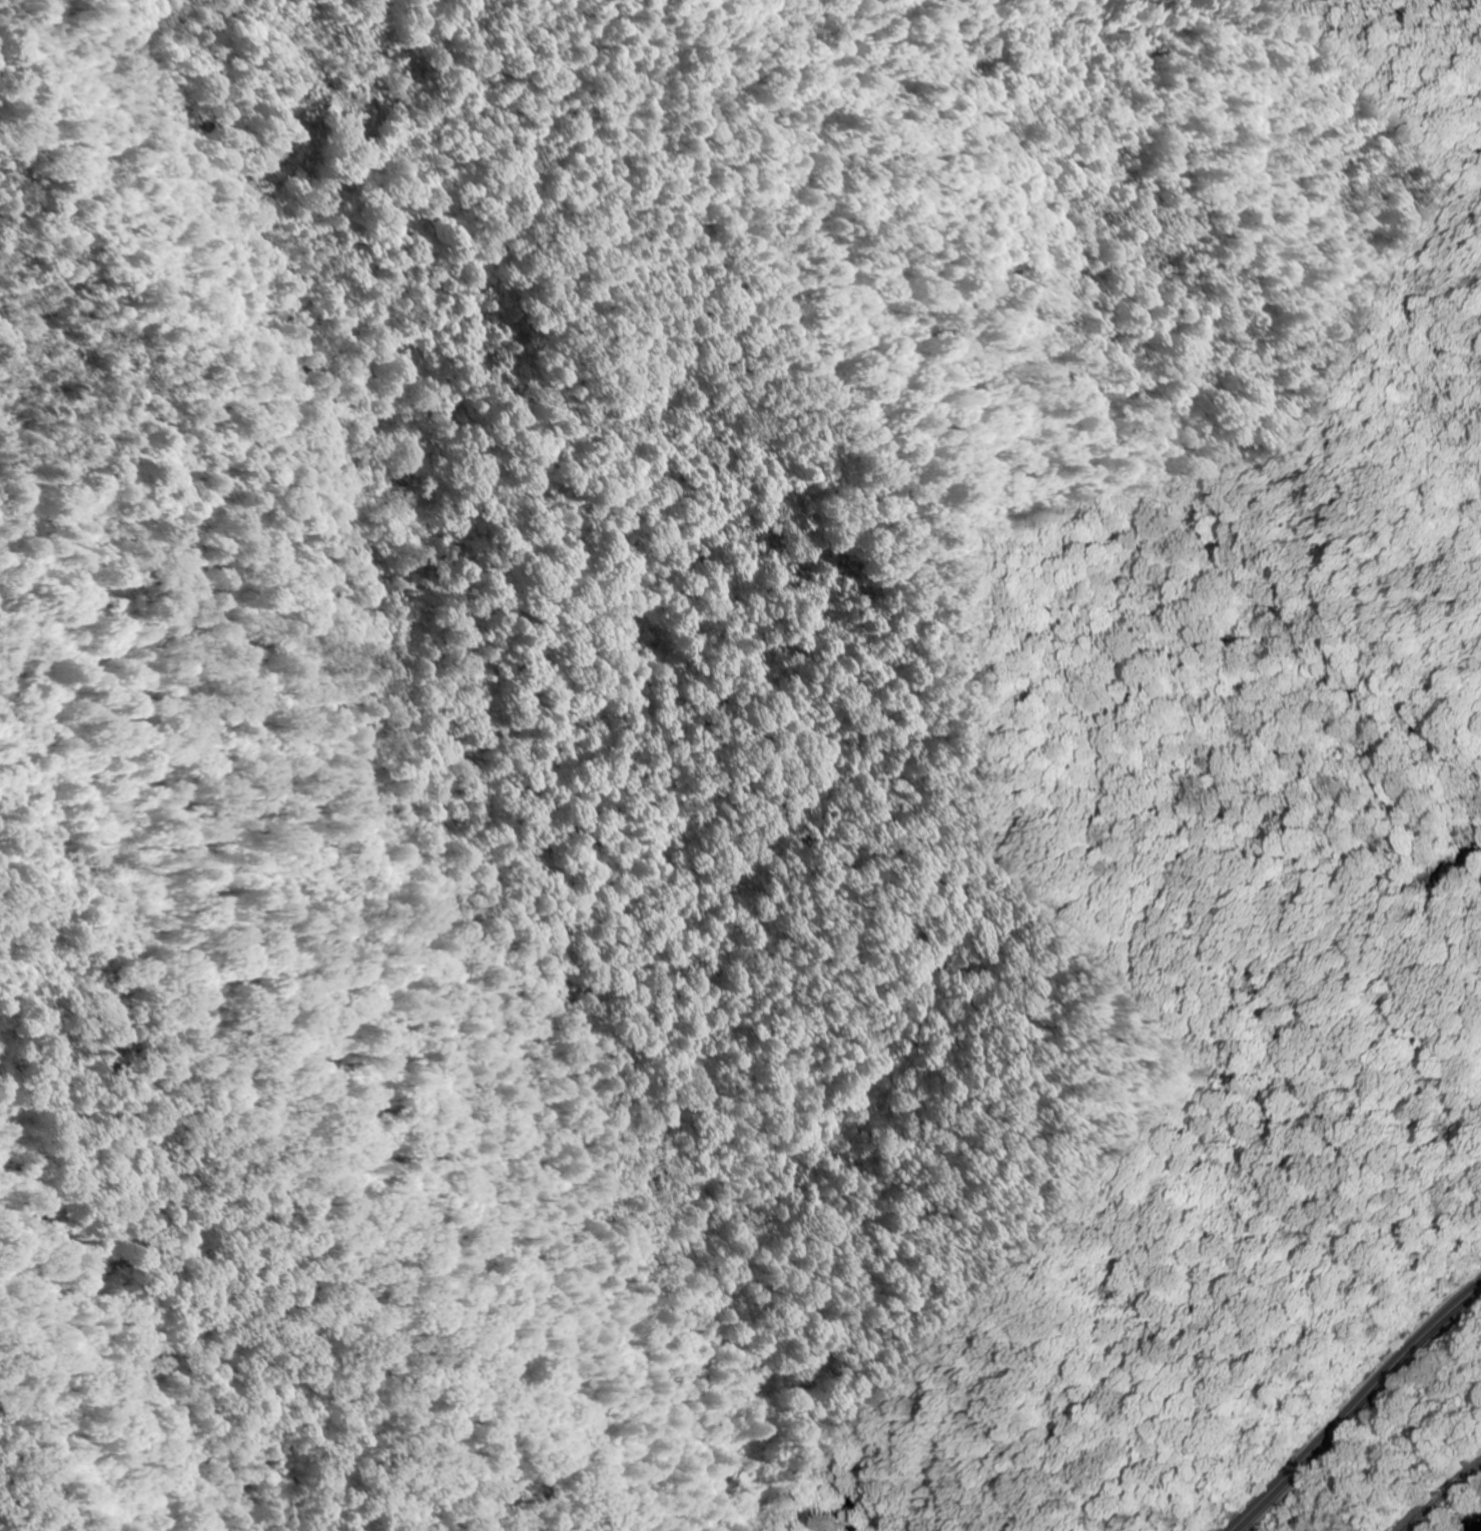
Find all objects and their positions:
road: (1358, 1411)
railway: (1438, 1492)
river: (1480, 1530)

